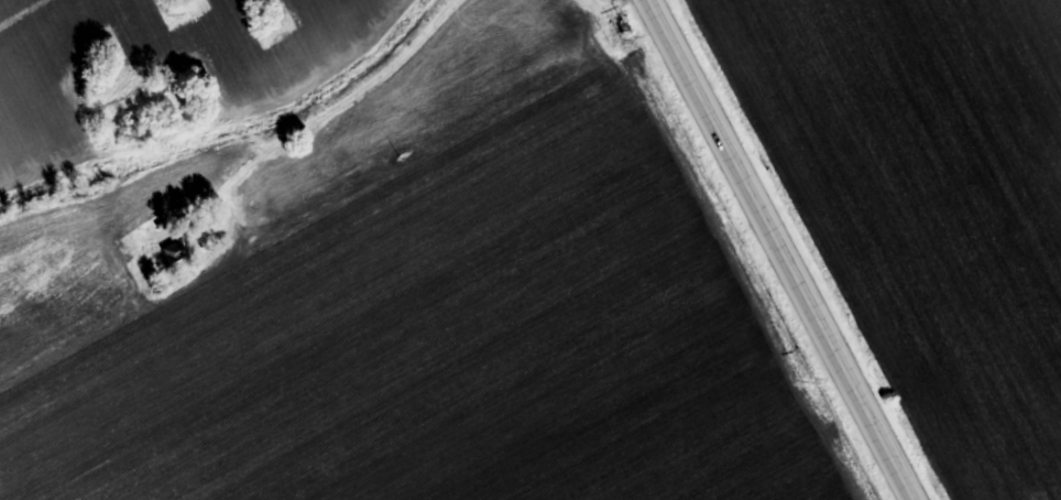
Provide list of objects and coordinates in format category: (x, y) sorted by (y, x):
power tower: (624, 39)
road: (777, 250)
power tower: (805, 381)

